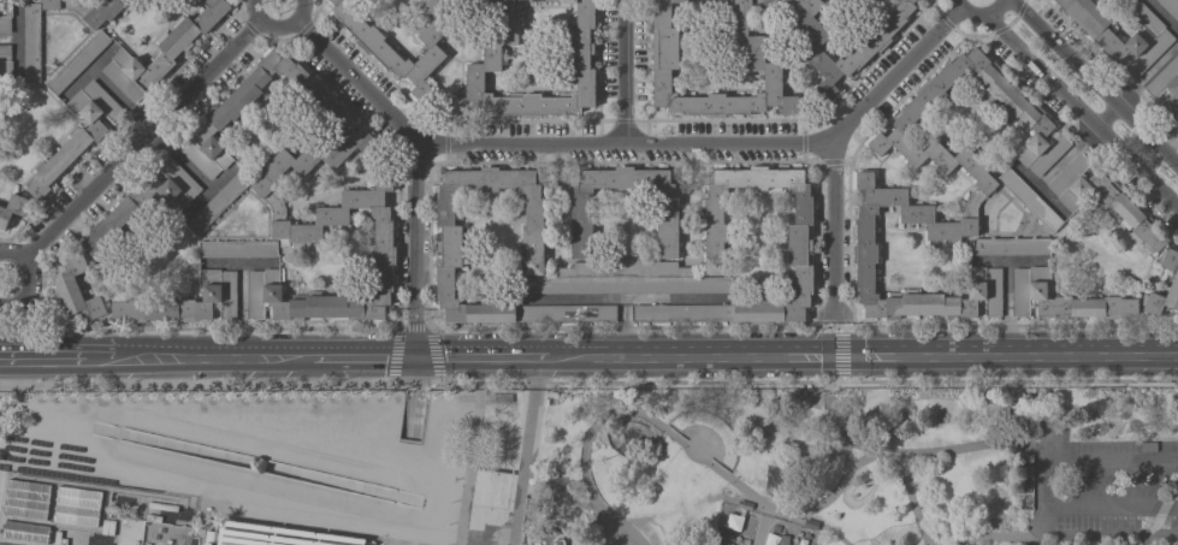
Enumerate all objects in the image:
building: (1170, 7)
building: (87, 10)
building: (5, 16)
road: (981, 17)
road: (274, 23)
building: (1148, 41)
building: (31, 42)
road: (16, 52)
building: (859, 52)
building: (170, 53)
building: (387, 53)
building: (665, 53)
road: (101, 58)
building: (576, 59)
building: (77, 61)
building: (5, 64)
road: (623, 72)
road: (106, 85)
road: (1091, 85)
building: (1166, 87)
road: (1124, 94)
road: (1081, 113)
building: (76, 135)
road: (409, 137)
road: (715, 144)
road: (132, 149)
road: (191, 172)
building: (985, 183)
building: (262, 184)
building: (1103, 199)
building: (1030, 200)
building: (143, 202)
road: (196, 202)
building: (218, 202)
building: (12, 209)
building: (579, 211)
road: (831, 227)
building: (450, 233)
building: (799, 245)
building: (1011, 247)
building: (238, 249)
road: (989, 260)
building: (624, 279)
building: (1174, 282)
road: (1006, 288)
building: (75, 289)
building: (1062, 298)
building: (184, 302)
road: (830, 312)
building: (527, 313)
road: (803, 326)
road: (412, 327)
road: (197, 328)
road: (412, 331)
road: (828, 354)
road: (846, 354)
traffic signals: (413, 355)
road: (375, 356)
road: (463, 356)
road: (41, 357)
road: (100, 357)
road: (229, 357)
road: (1002, 380)
road: (413, 381)
road: (414, 398)
road: (674, 437)
road: (848, 442)
building: (1148, 446)
road: (948, 448)
road: (525, 450)
road: (859, 457)
road: (231, 458)
road: (468, 463)
road: (894, 464)
park: (853, 466)
road: (495, 469)
road: (546, 481)
road: (1044, 486)
parking lot: (1105, 490)
building: (19, 497)
road: (567, 504)
road: (1159, 510)
road: (768, 511)
road: (1037, 521)
road: (563, 526)
road: (501, 528)
road: (921, 528)
road: (758, 529)
road: (1103, 532)
road: (995, 534)
building: (276, 535)
building: (545, 535)
road: (925, 541)

